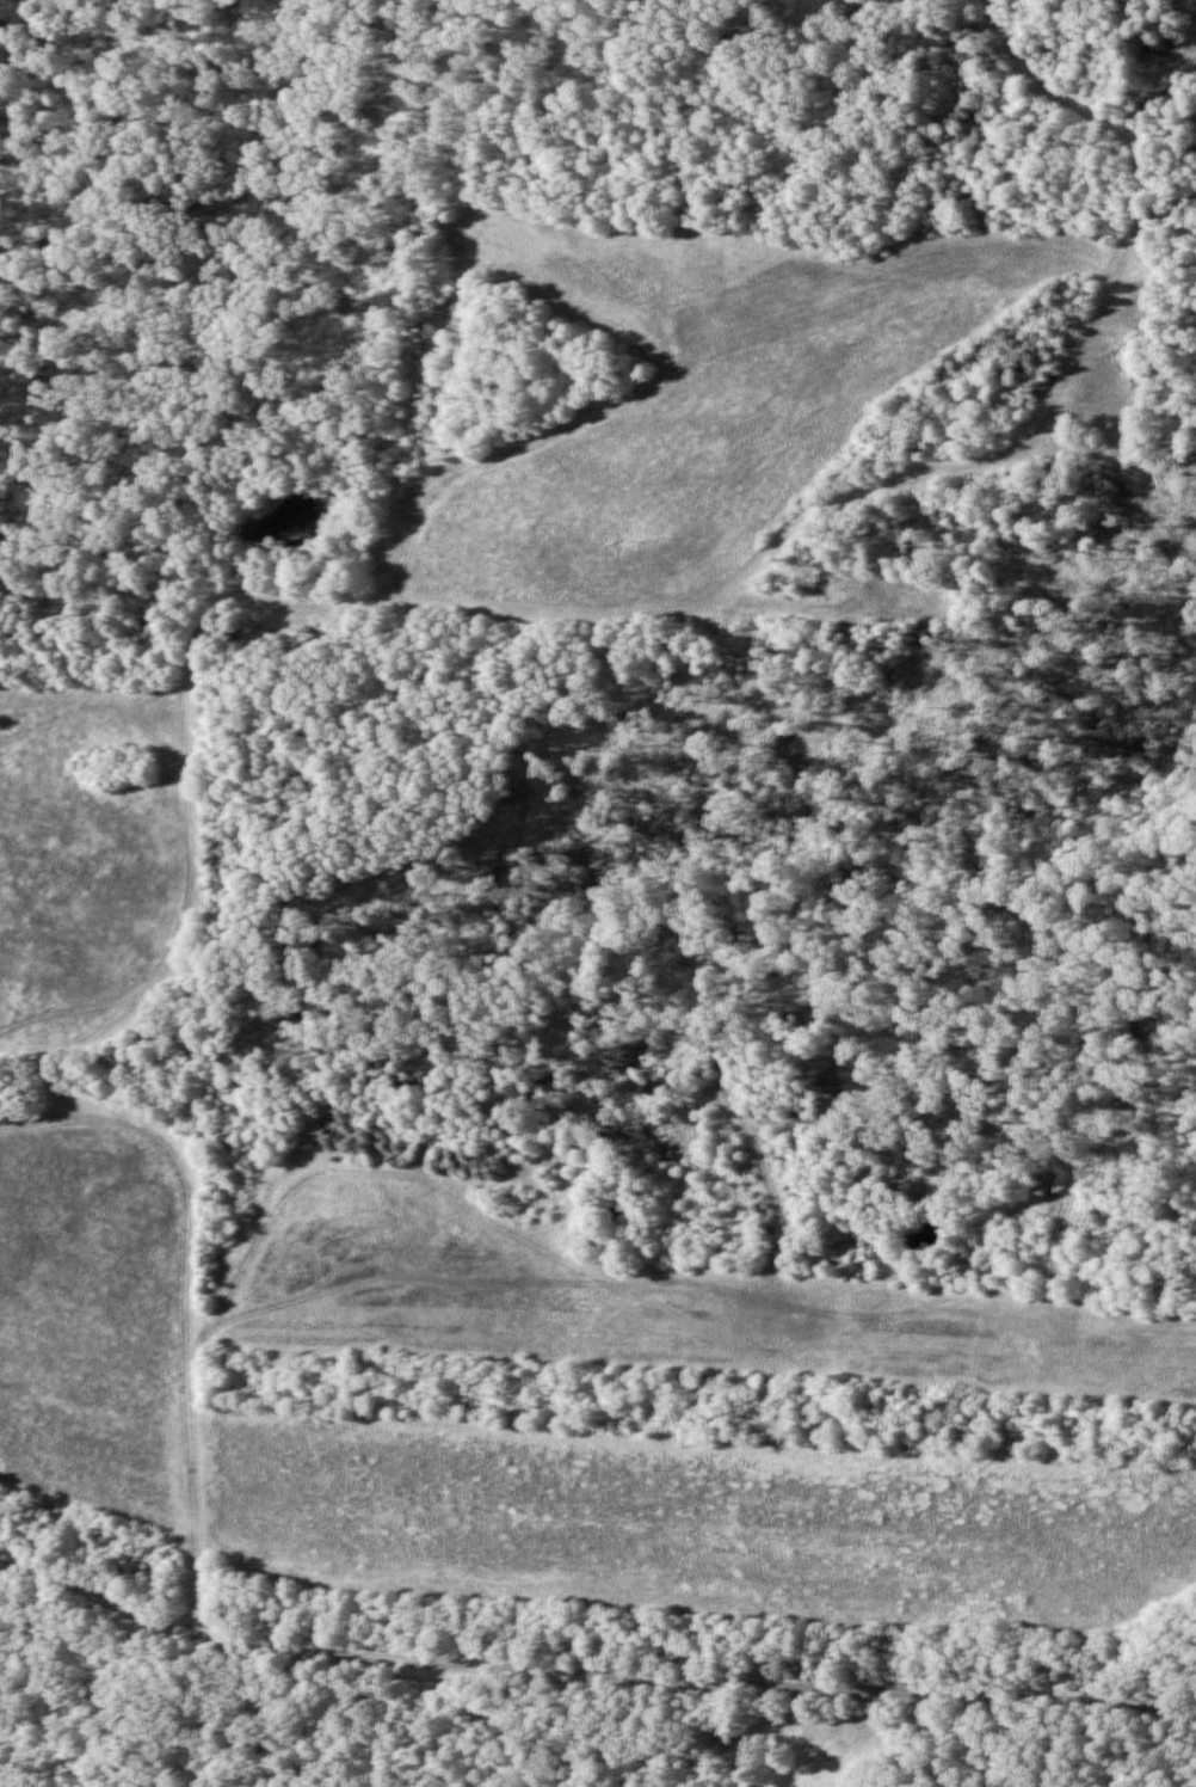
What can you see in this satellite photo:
road: (588, 1676)

